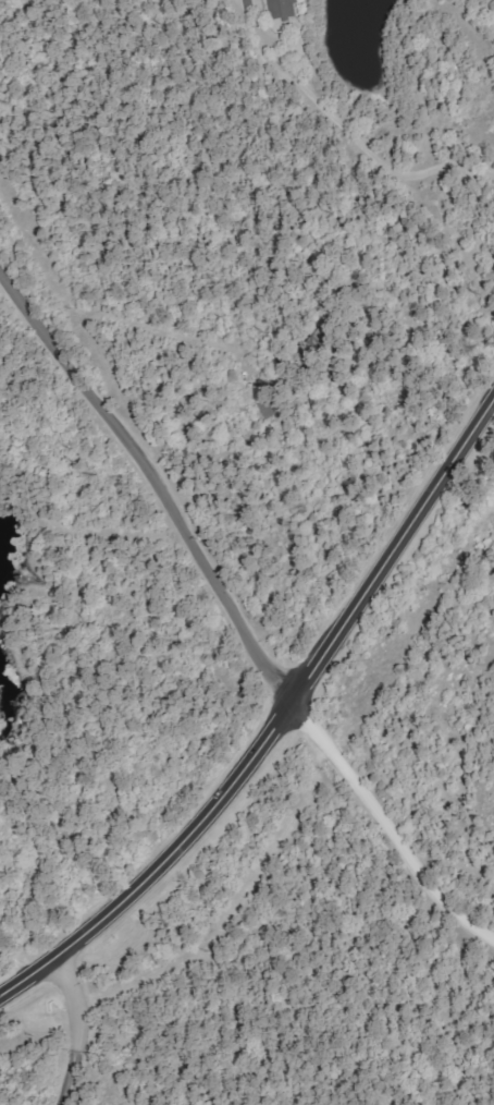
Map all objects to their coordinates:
building: (255, 5)
building: (285, 9)
road: (476, 212)
road: (156, 478)
road: (276, 720)
road: (388, 823)
road: (74, 1025)

